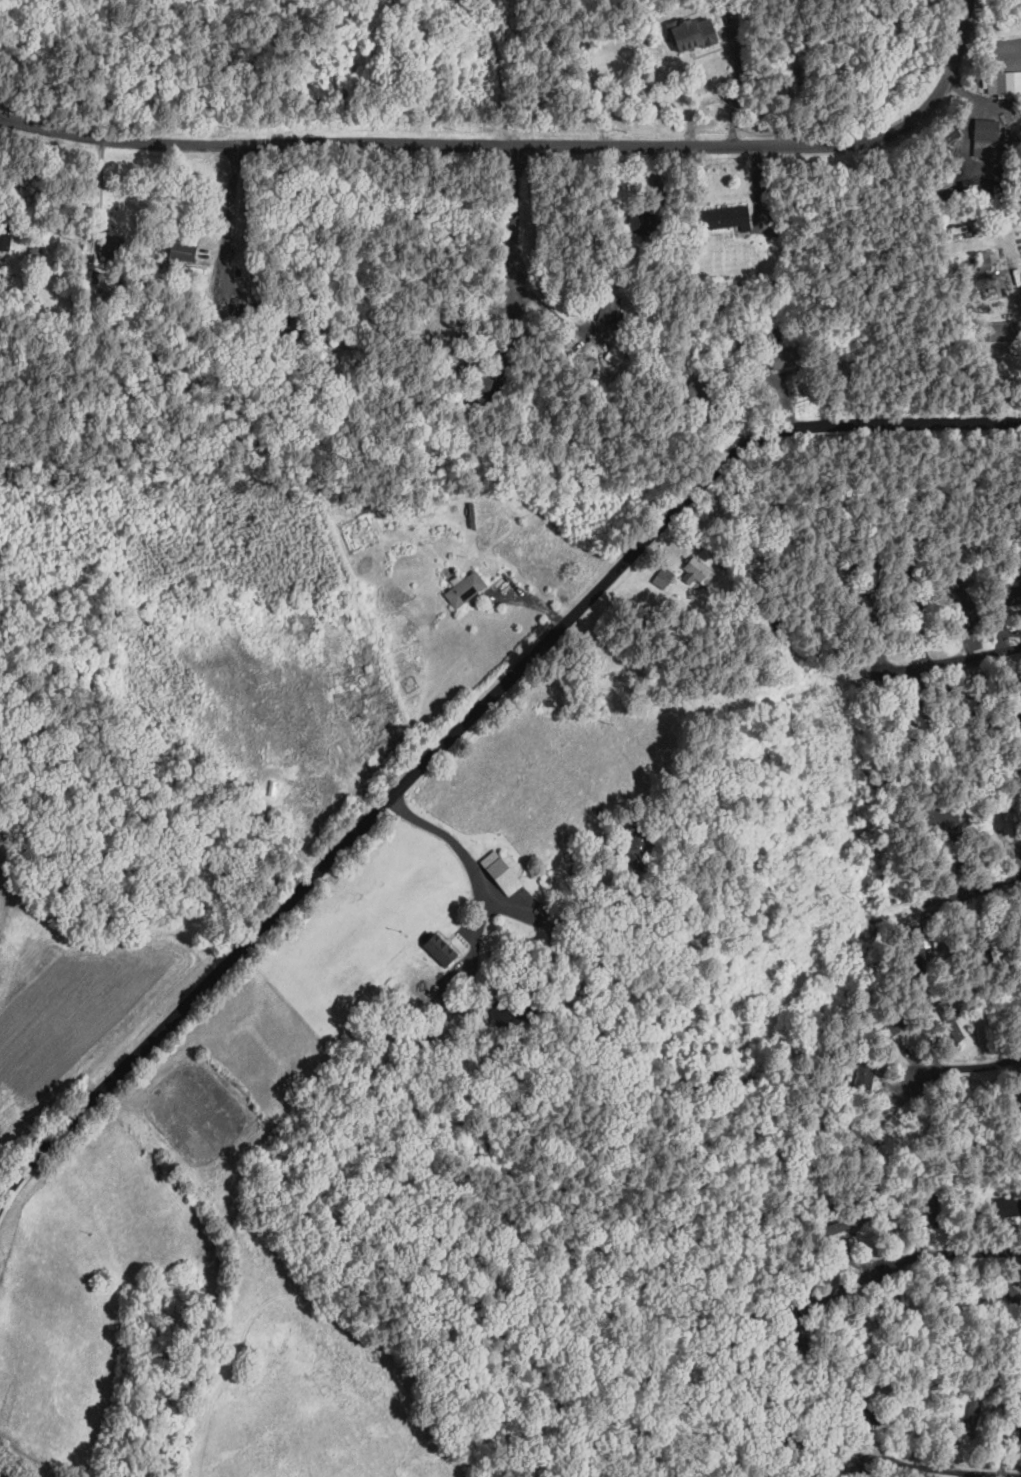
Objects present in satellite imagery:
building: (695, 34)
building: (1014, 81)
road: (736, 91)
road: (998, 106)
building: (986, 137)
road: (526, 145)
road: (222, 217)
building: (729, 217)
road: (512, 219)
building: (5, 240)
building: (110, 248)
building: (183, 251)
building: (697, 572)
building: (663, 578)
building: (465, 588)
road: (959, 651)
road: (467, 721)
building: (1006, 824)
road: (474, 869)
building: (503, 871)
road: (965, 893)
building: (441, 948)
road: (970, 1067)
building: (863, 1076)
road: (930, 1254)
road: (944, 1468)
road: (4, 1474)

